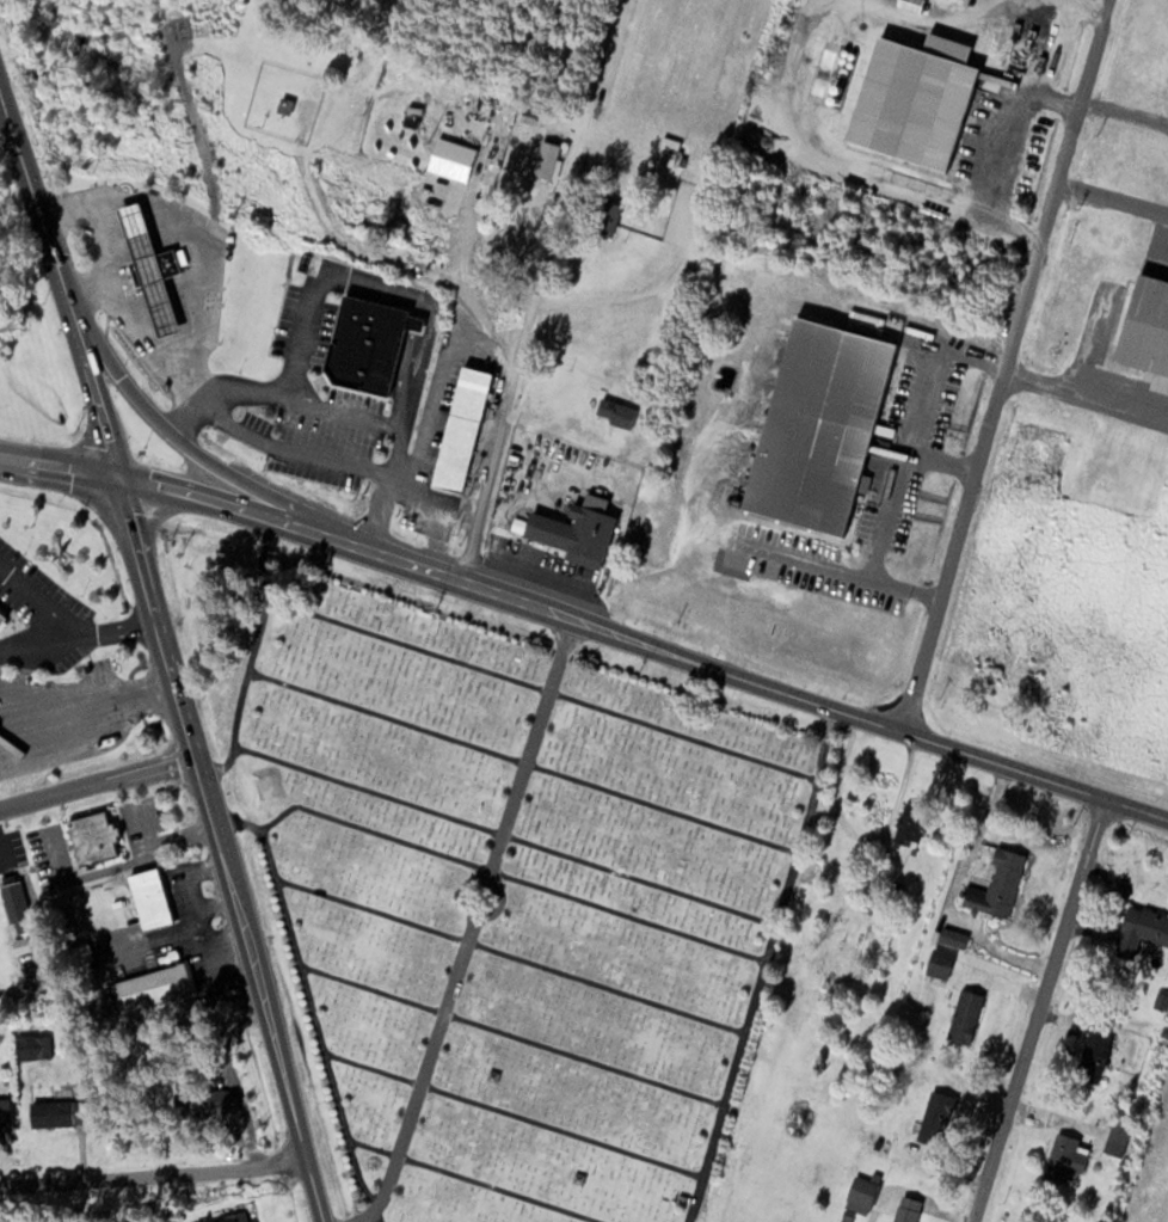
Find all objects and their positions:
building: (910, 88)
building: (551, 162)
building: (605, 216)
building: (160, 265)
building: (152, 269)
road: (518, 287)
building: (1144, 327)
building: (362, 345)
road: (1004, 364)
building: (615, 412)
building: (817, 425)
building: (460, 429)
road: (195, 449)
road: (59, 466)
traffic signals: (118, 477)
building: (573, 528)
building: (2, 615)
road: (614, 631)
road: (166, 653)
road: (252, 656)
road: (539, 687)
road: (523, 762)
road: (97, 781)
road: (1137, 809)
building: (909, 829)
road: (505, 834)
building: (92, 837)
road: (511, 876)
park: (497, 885)
building: (997, 885)
building: (148, 898)
building: (14, 901)
building: (1141, 929)
building: (953, 937)
road: (467, 939)
building: (81, 953)
road: (510, 954)
building: (939, 963)
road: (764, 965)
building: (150, 987)
road: (312, 1002)
road: (1039, 1011)
building: (964, 1017)
road: (512, 1033)
building: (1094, 1051)
building: (204, 1101)
building: (51, 1112)
road: (516, 1113)
building: (5, 1114)
building: (1118, 1135)
building: (1061, 1157)
road: (153, 1171)
road: (473, 1181)
building: (860, 1197)
building: (906, 1210)
building: (230, 1217)

